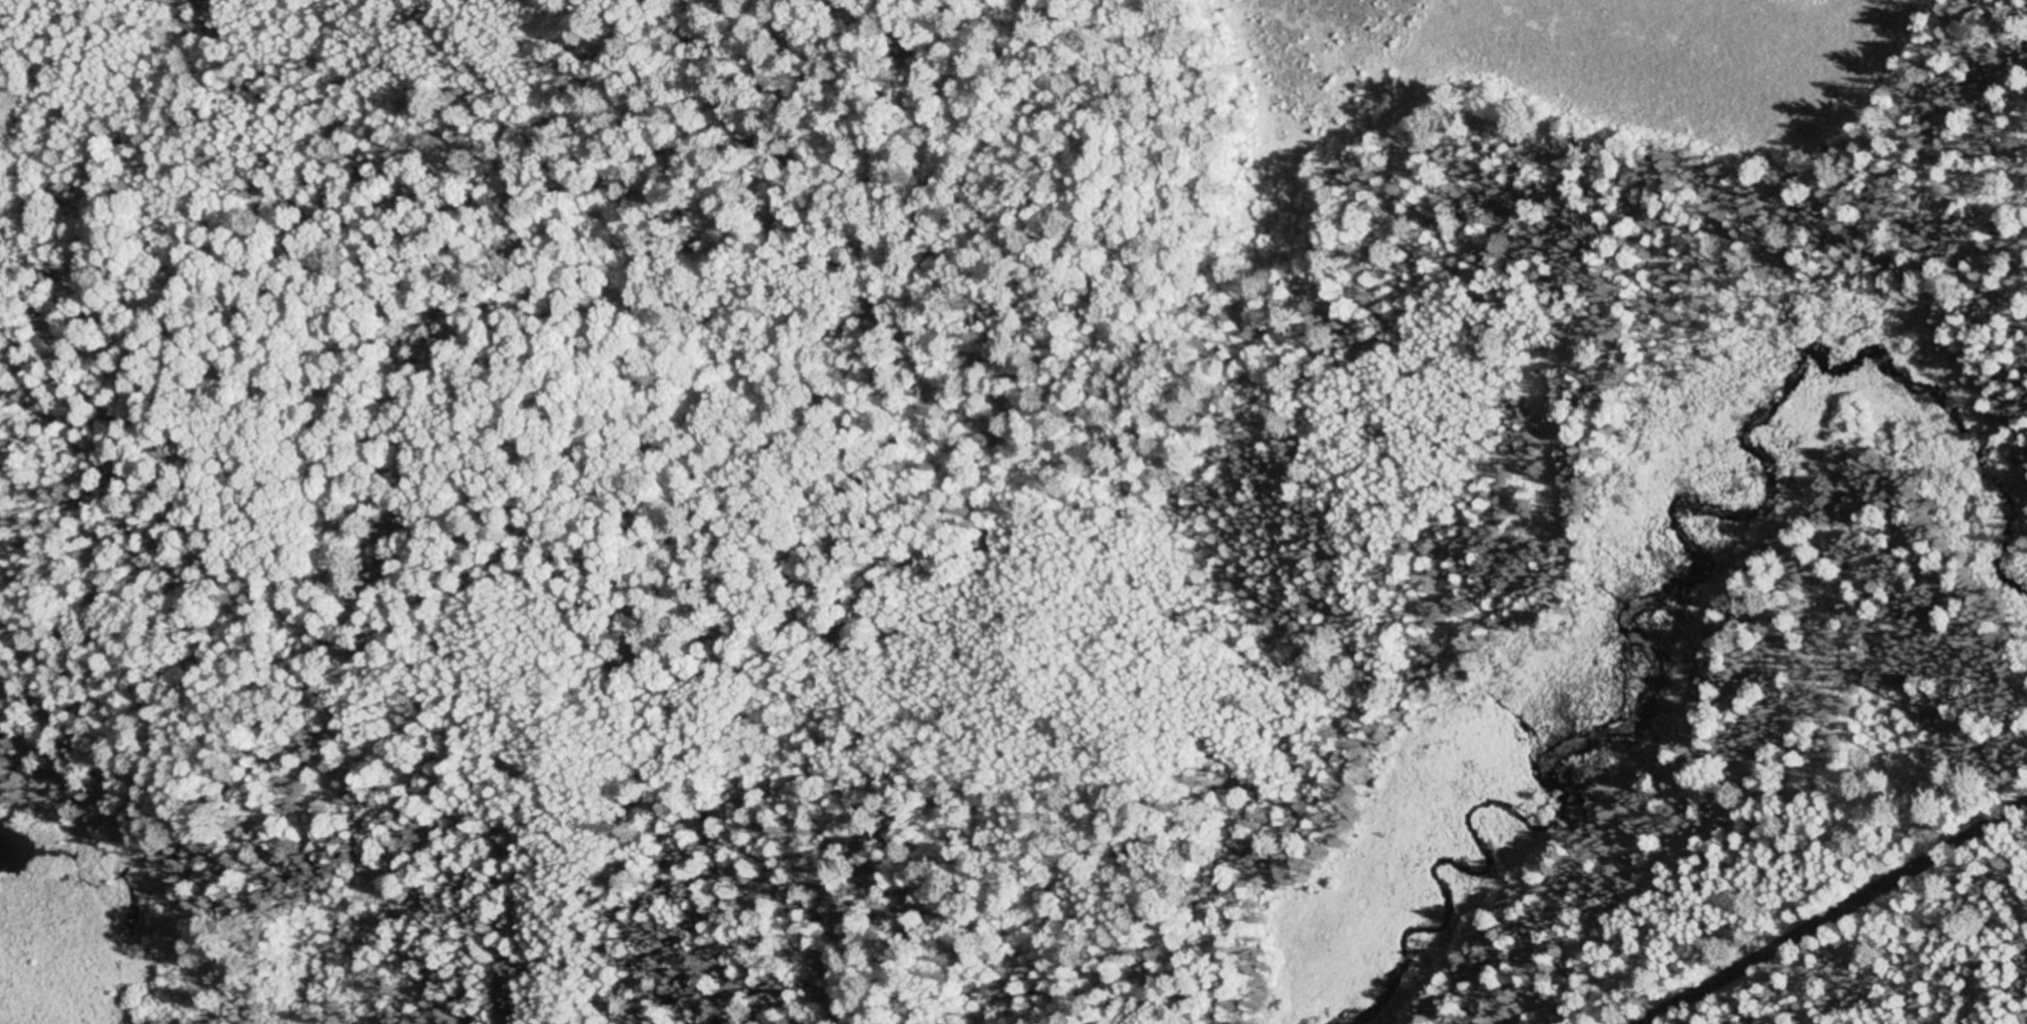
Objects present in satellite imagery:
road: (377, 448)
road: (1835, 914)

